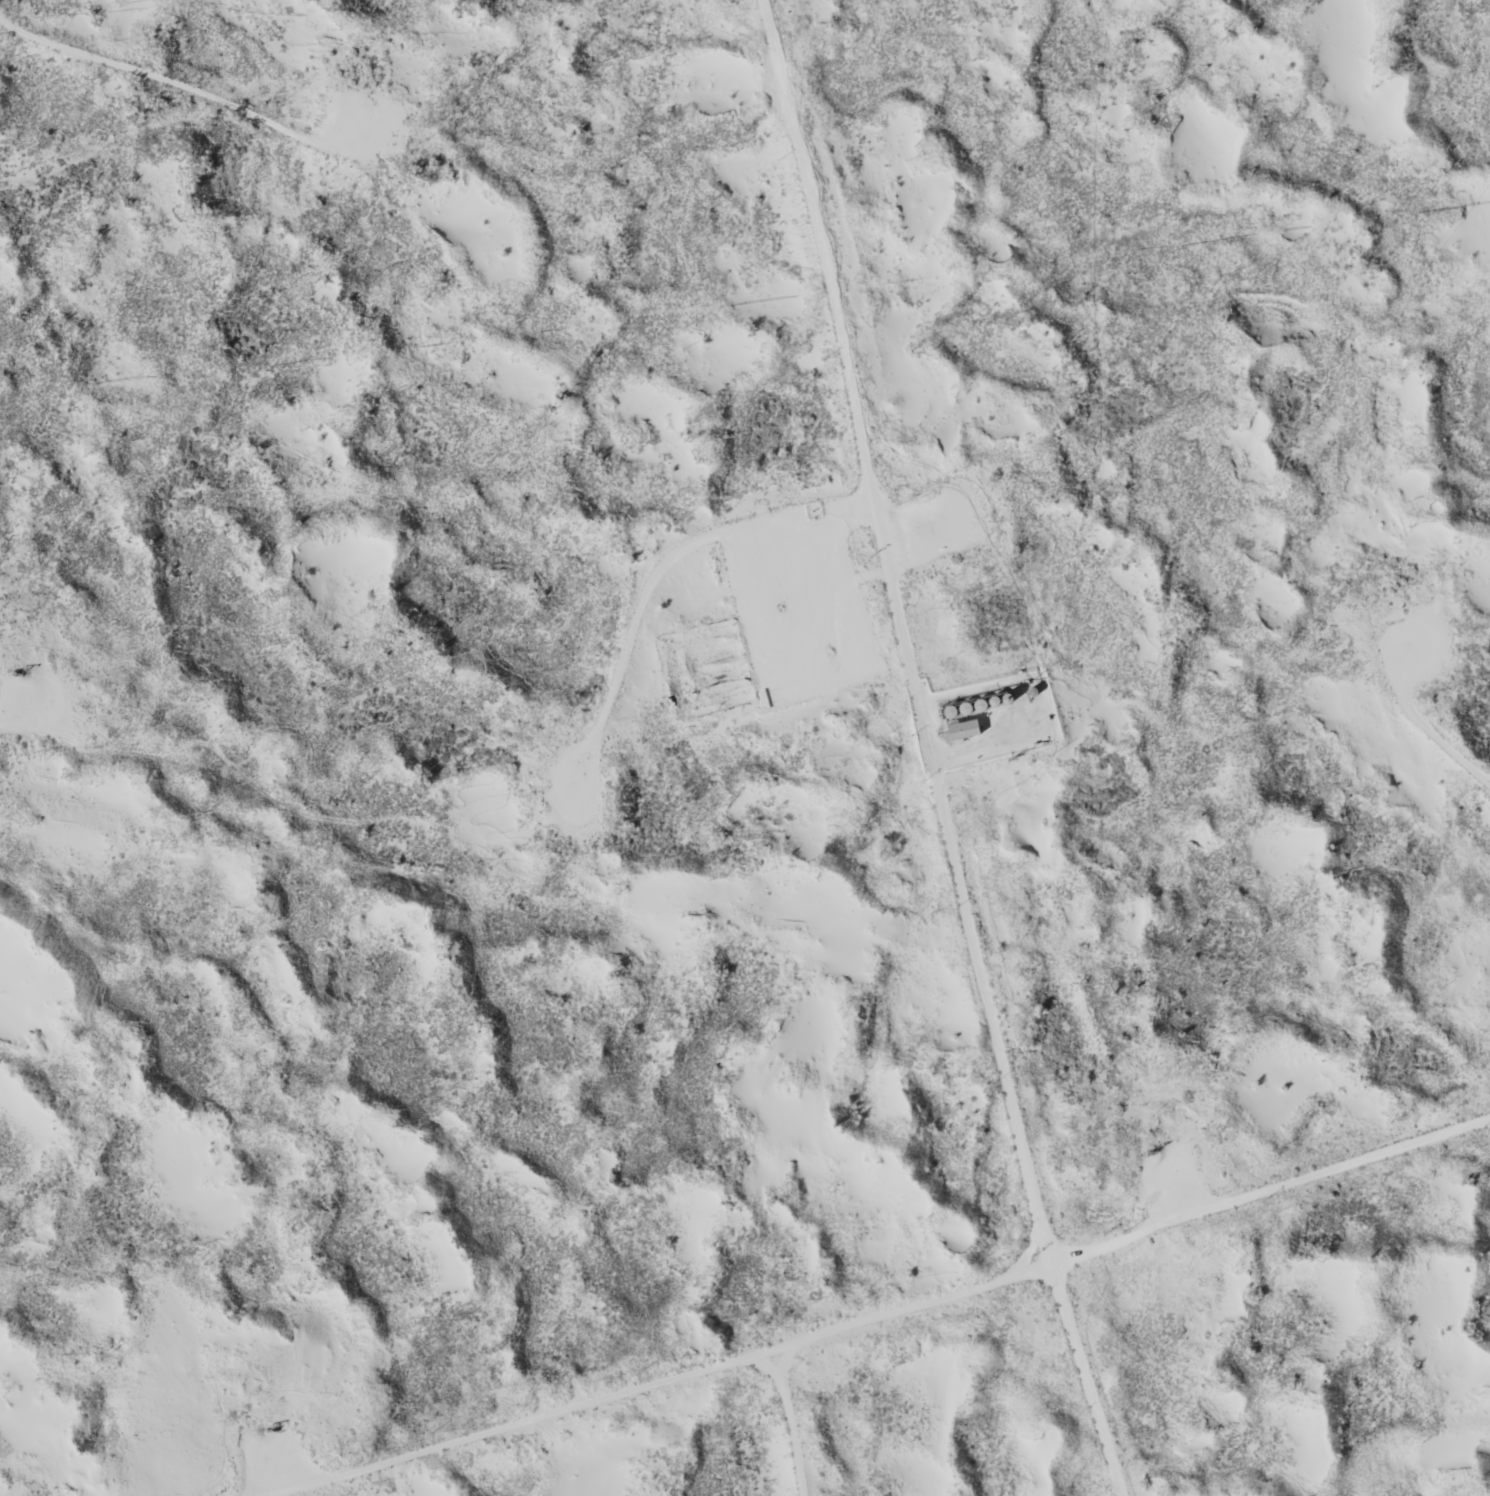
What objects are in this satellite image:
road: (942, 748)

